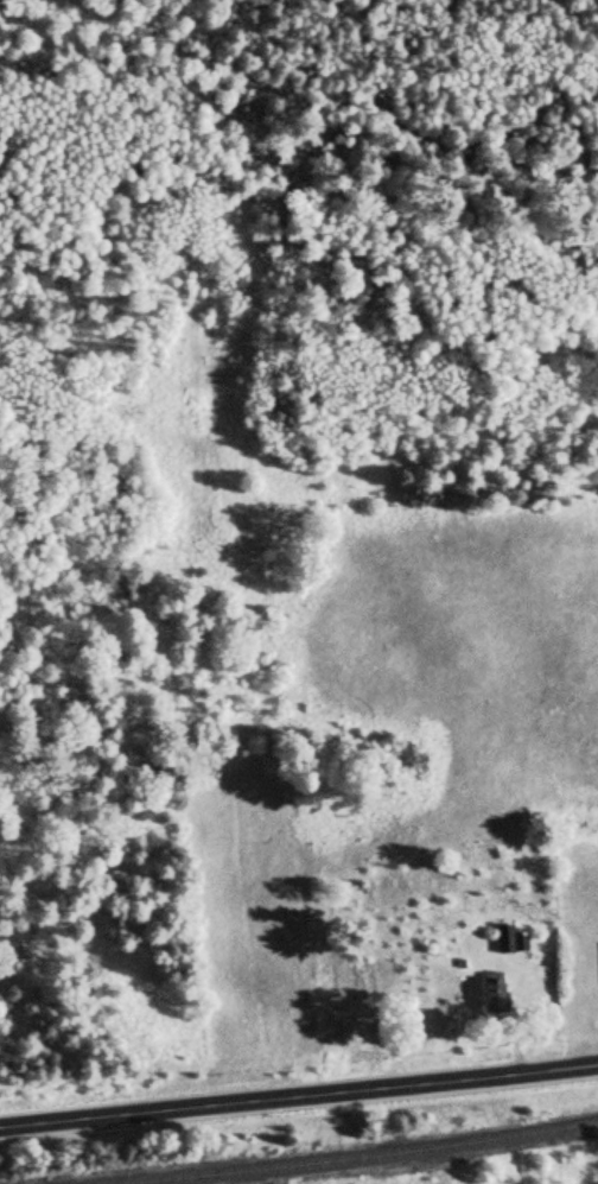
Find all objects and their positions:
building: (489, 990)
building: (579, 1020)
road: (298, 1096)
railway: (351, 1157)

